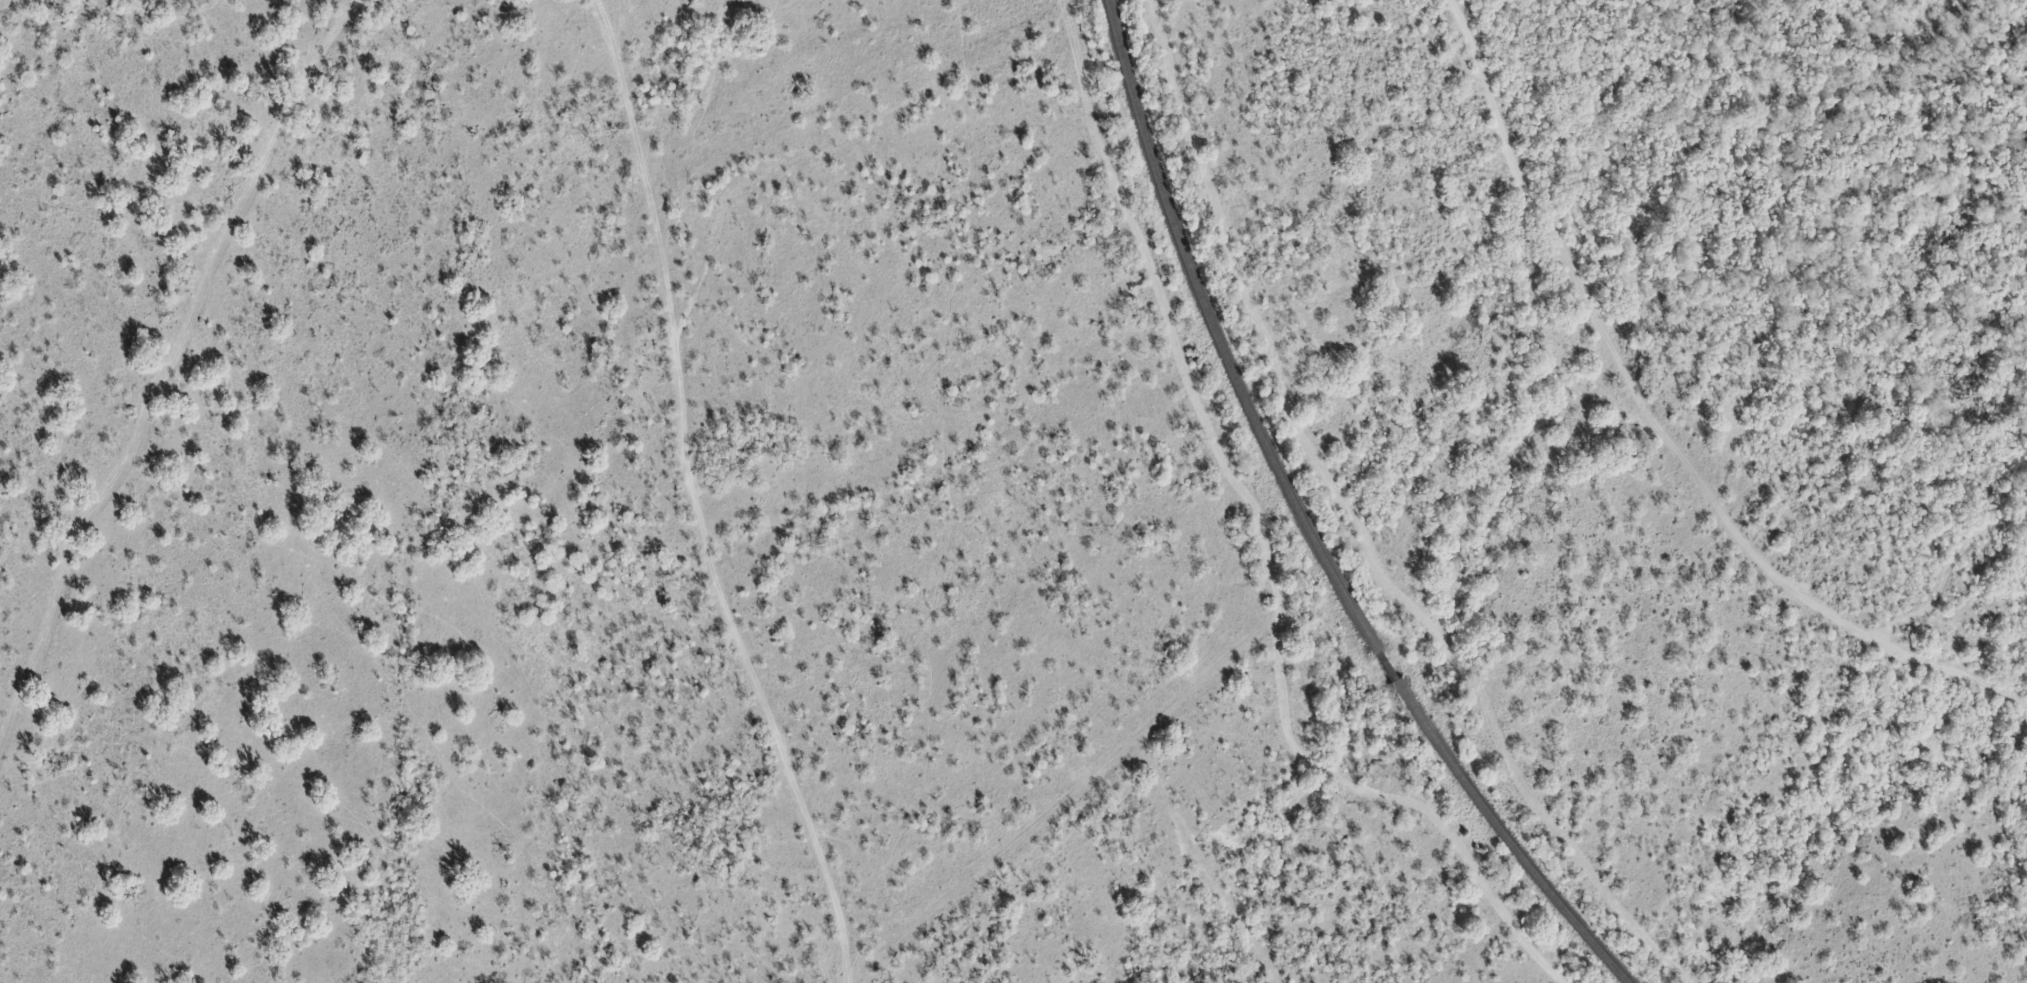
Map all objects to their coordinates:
railway: (1302, 524)

